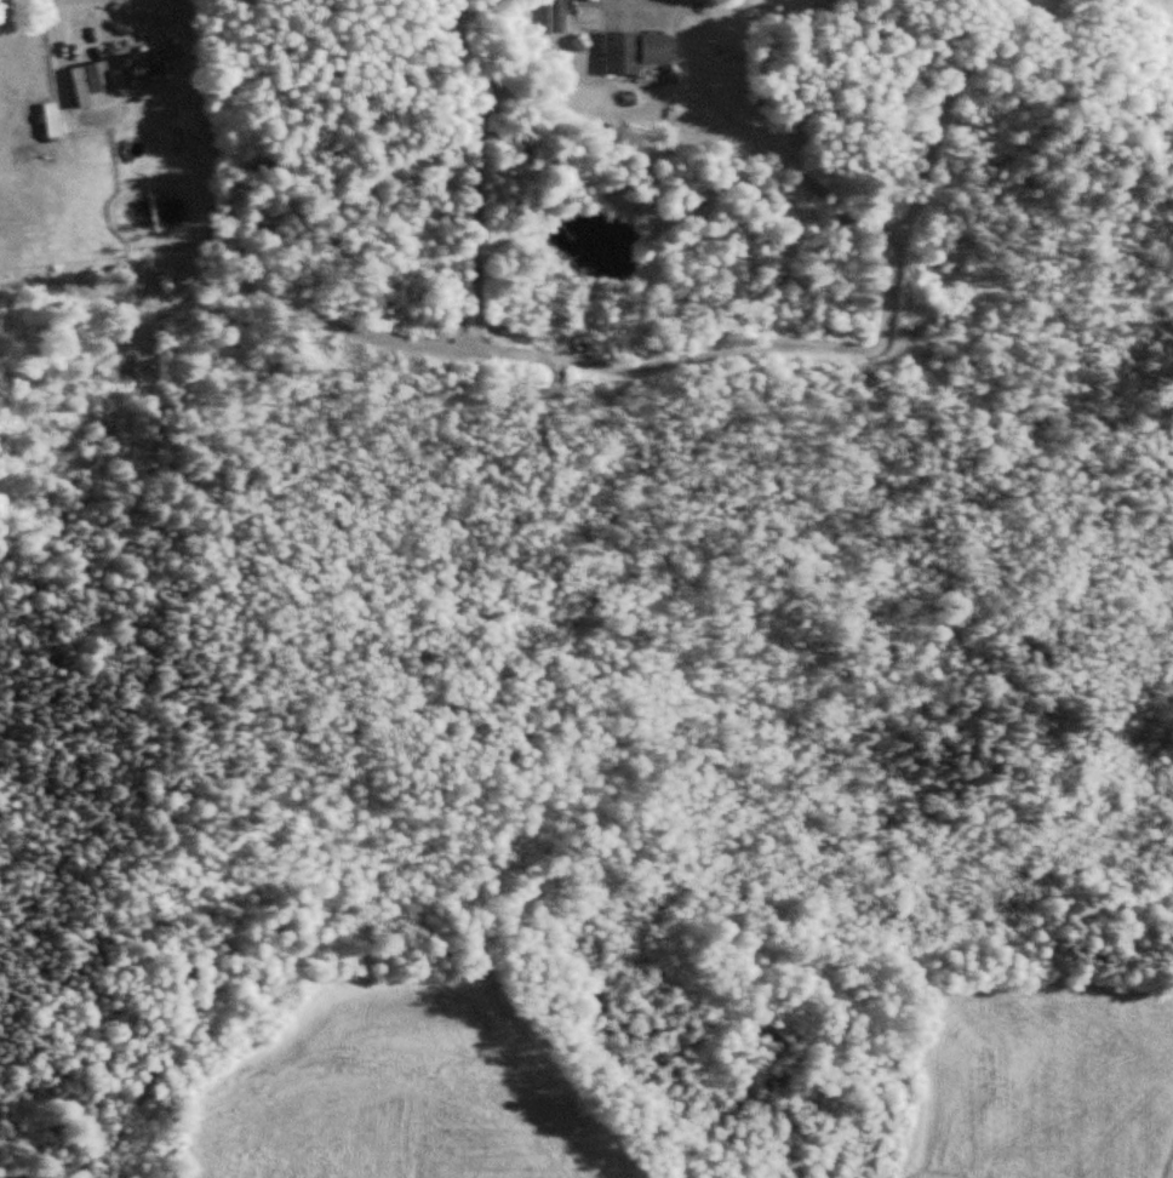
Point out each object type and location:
road: (639, 1)
building: (557, 16)
building: (636, 50)
building: (153, 61)
building: (99, 82)
building: (53, 119)

